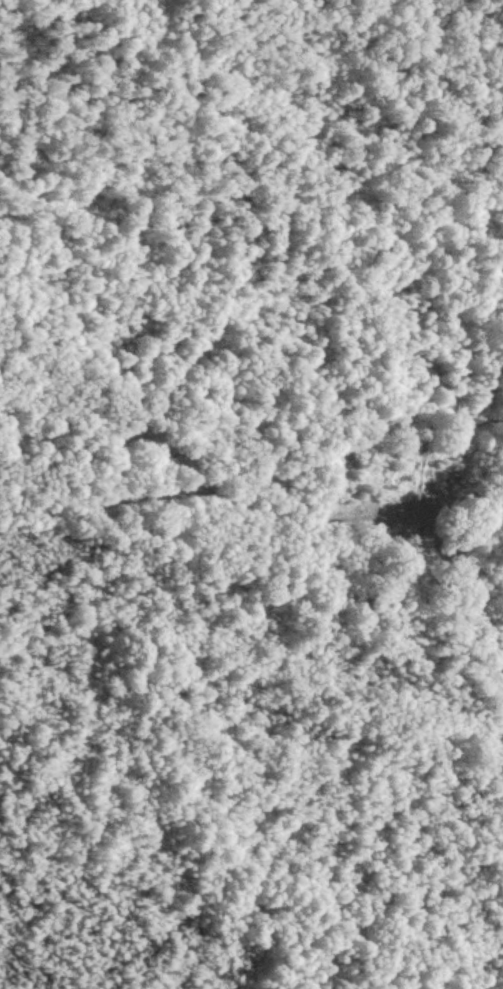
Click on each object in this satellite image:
road: (251, 170)
road: (258, 525)

